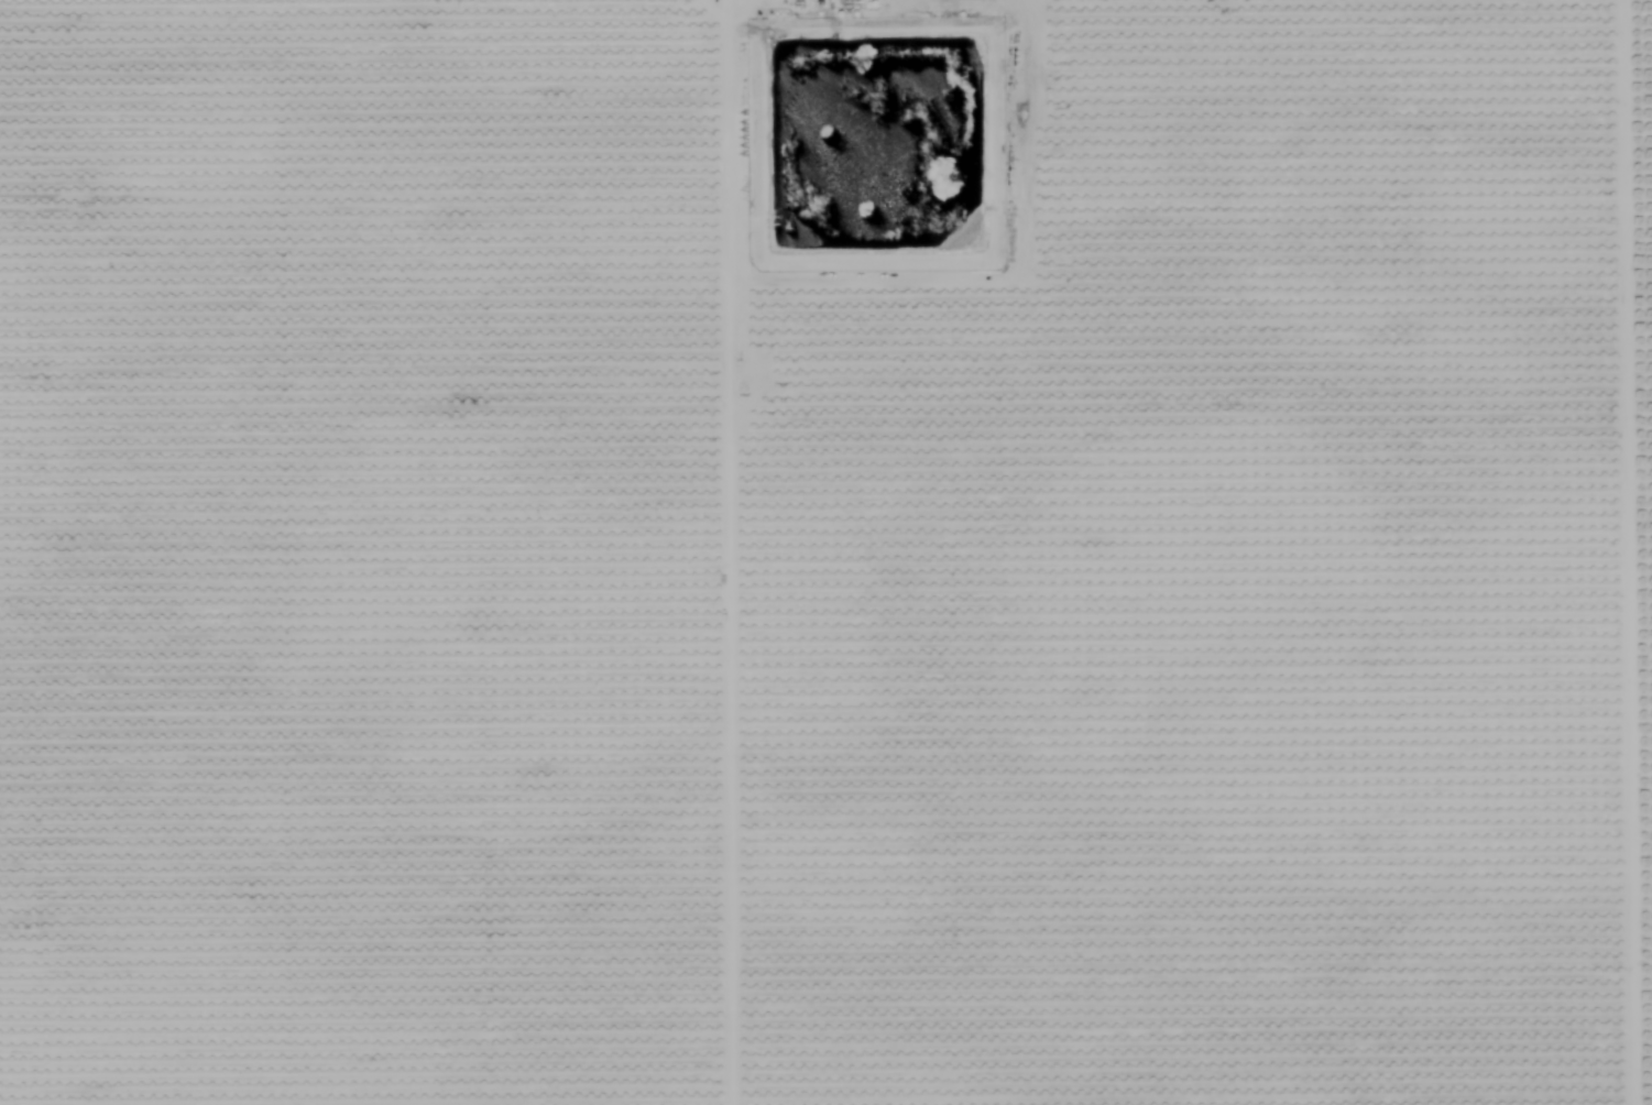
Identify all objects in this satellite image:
road: (724, 551)
road: (1632, 552)

